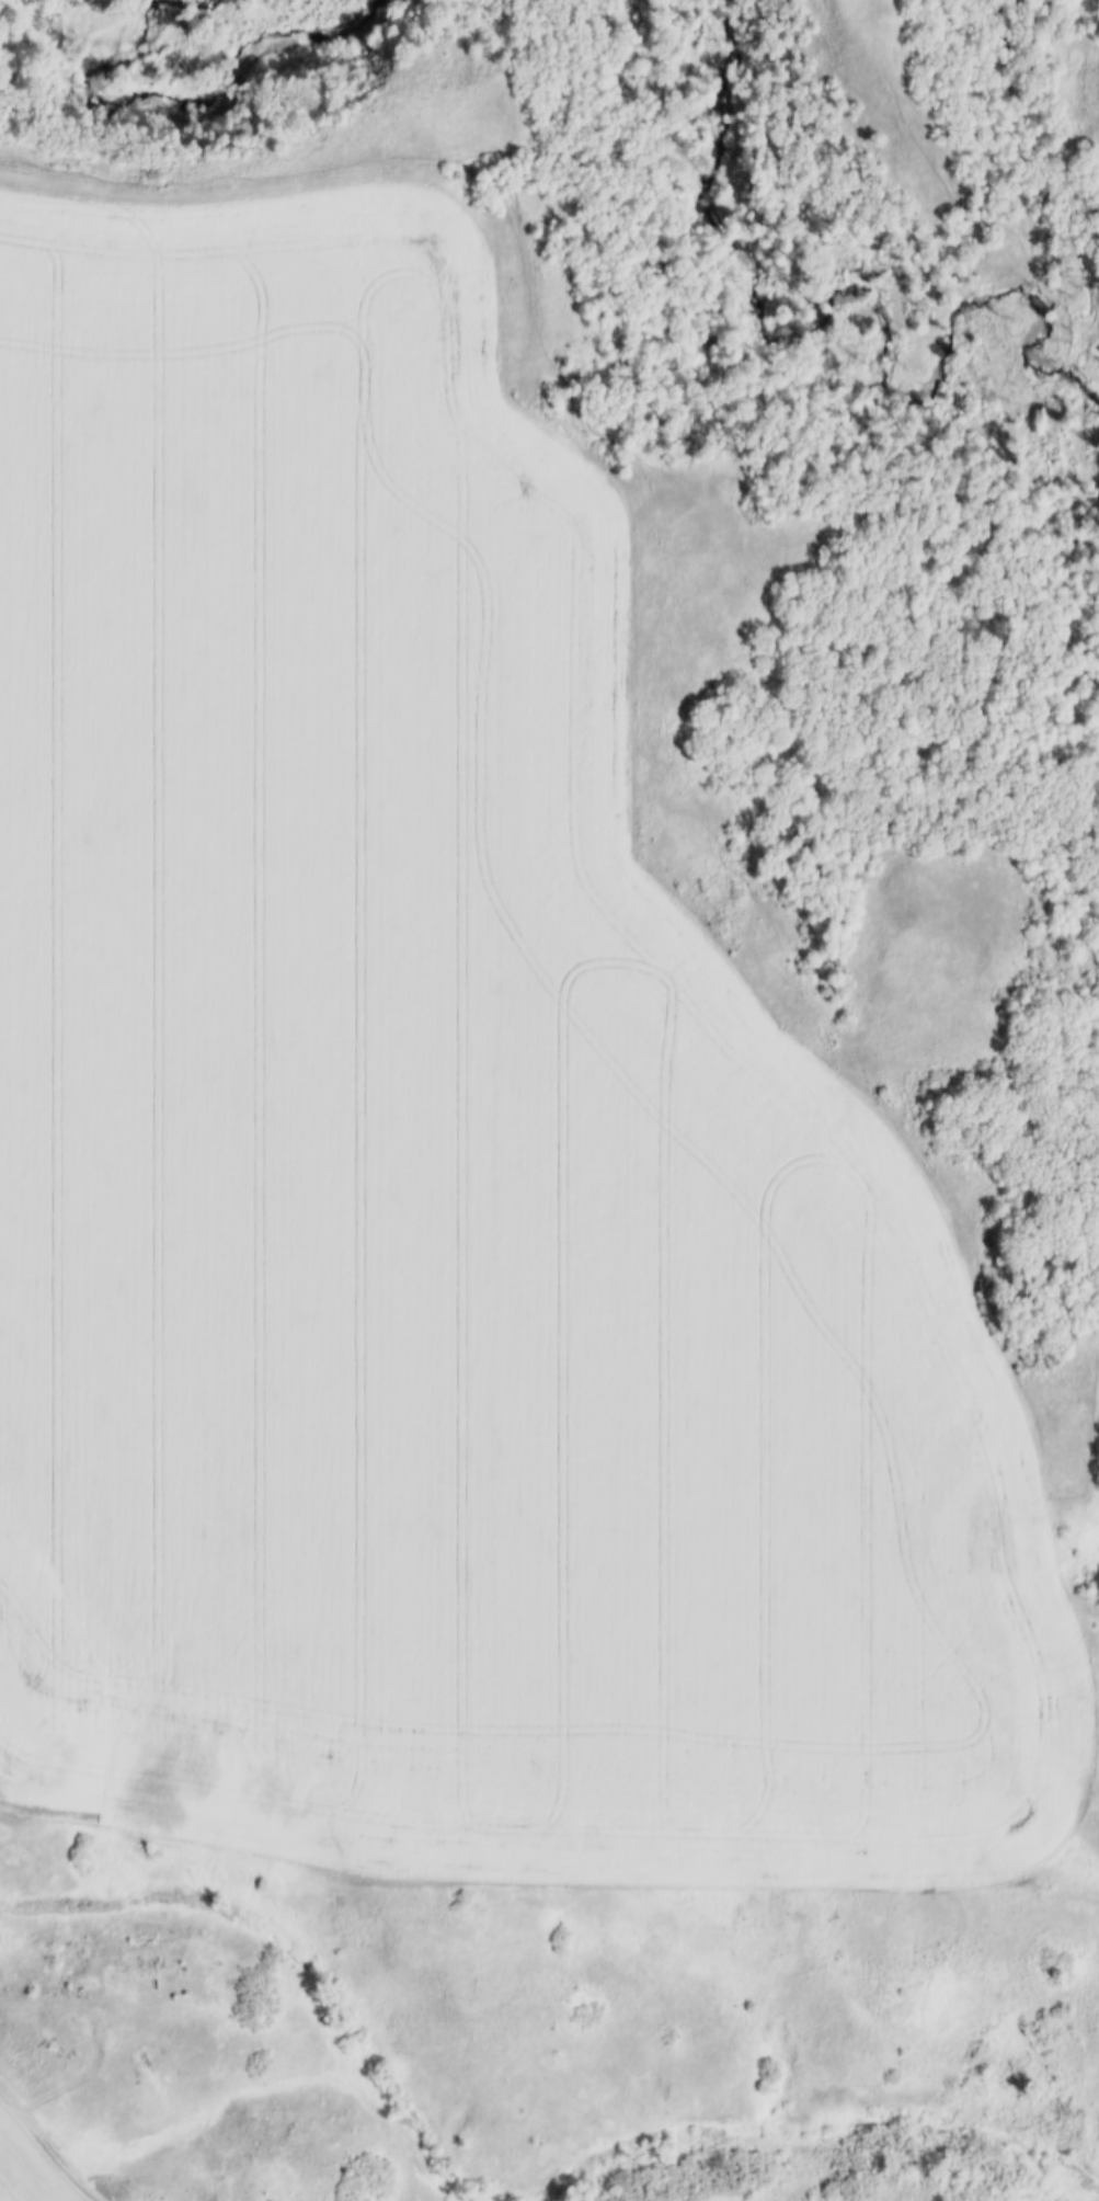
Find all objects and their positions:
road: (53, 2142)

